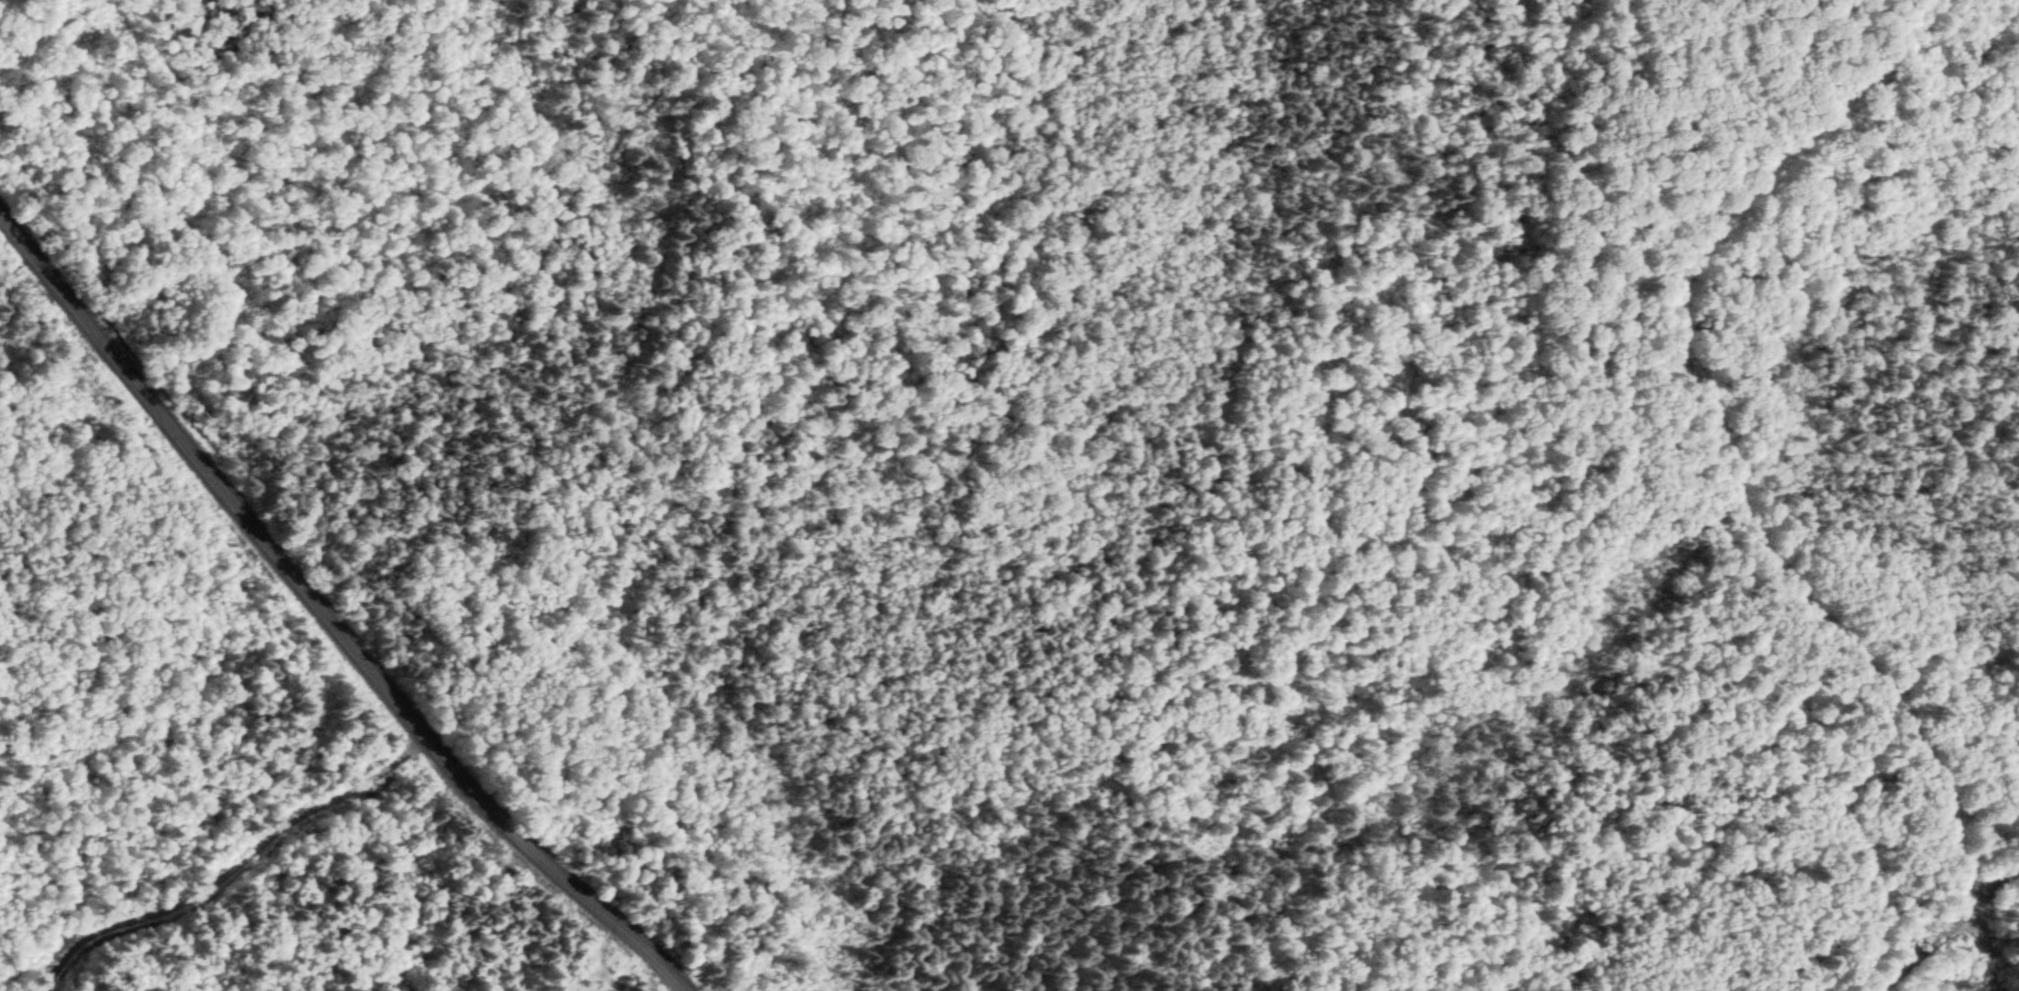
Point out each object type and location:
road: (35, 30)
road: (1737, 470)
road: (327, 622)
road: (232, 870)
road: (1937, 925)

